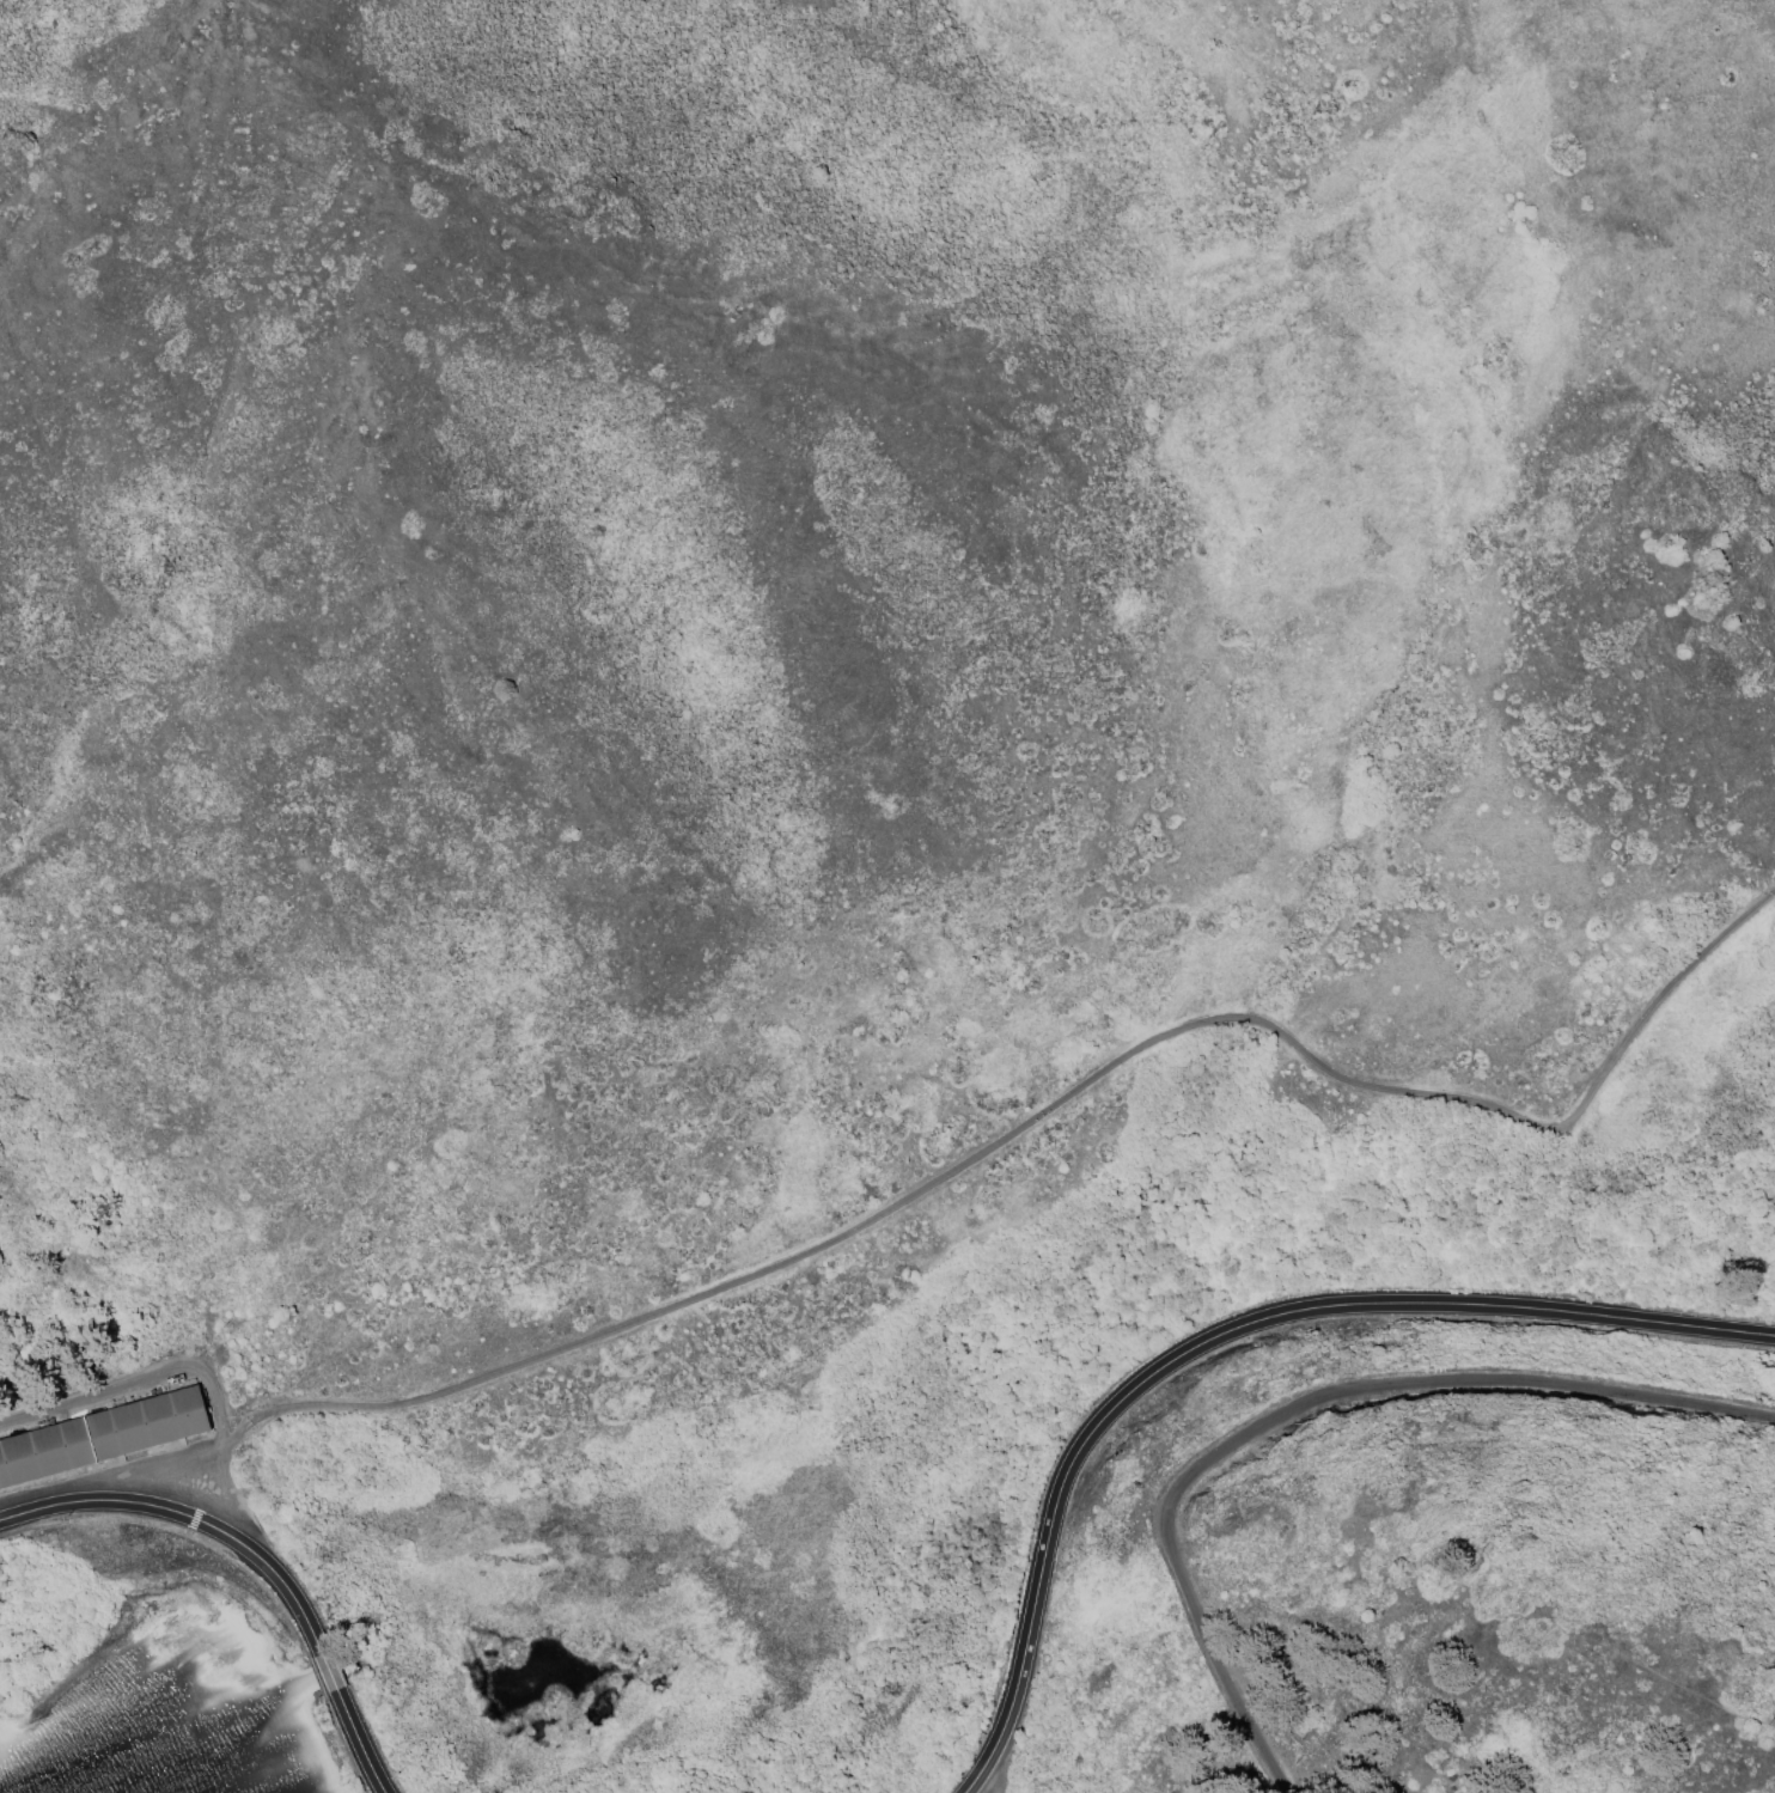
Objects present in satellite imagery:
road: (1661, 1002)
road: (878, 1214)
road: (1224, 1331)
road: (140, 1378)
road: (1304, 1409)
building: (102, 1434)
parking lot: (161, 1482)
road: (191, 1518)
road: (189, 1543)
road: (171, 1568)
road: (328, 1675)
road: (317, 1679)
road: (356, 1743)
road: (343, 1744)

